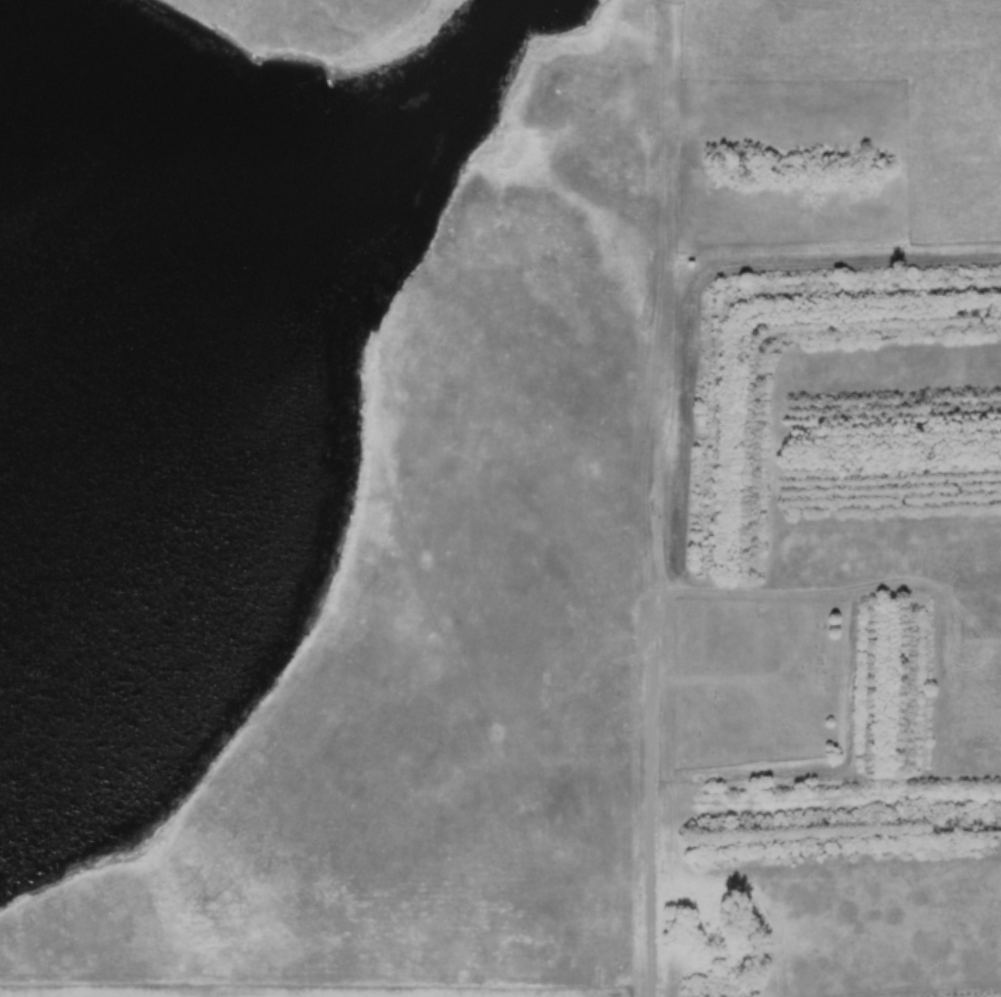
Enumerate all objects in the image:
road: (655, 831)

